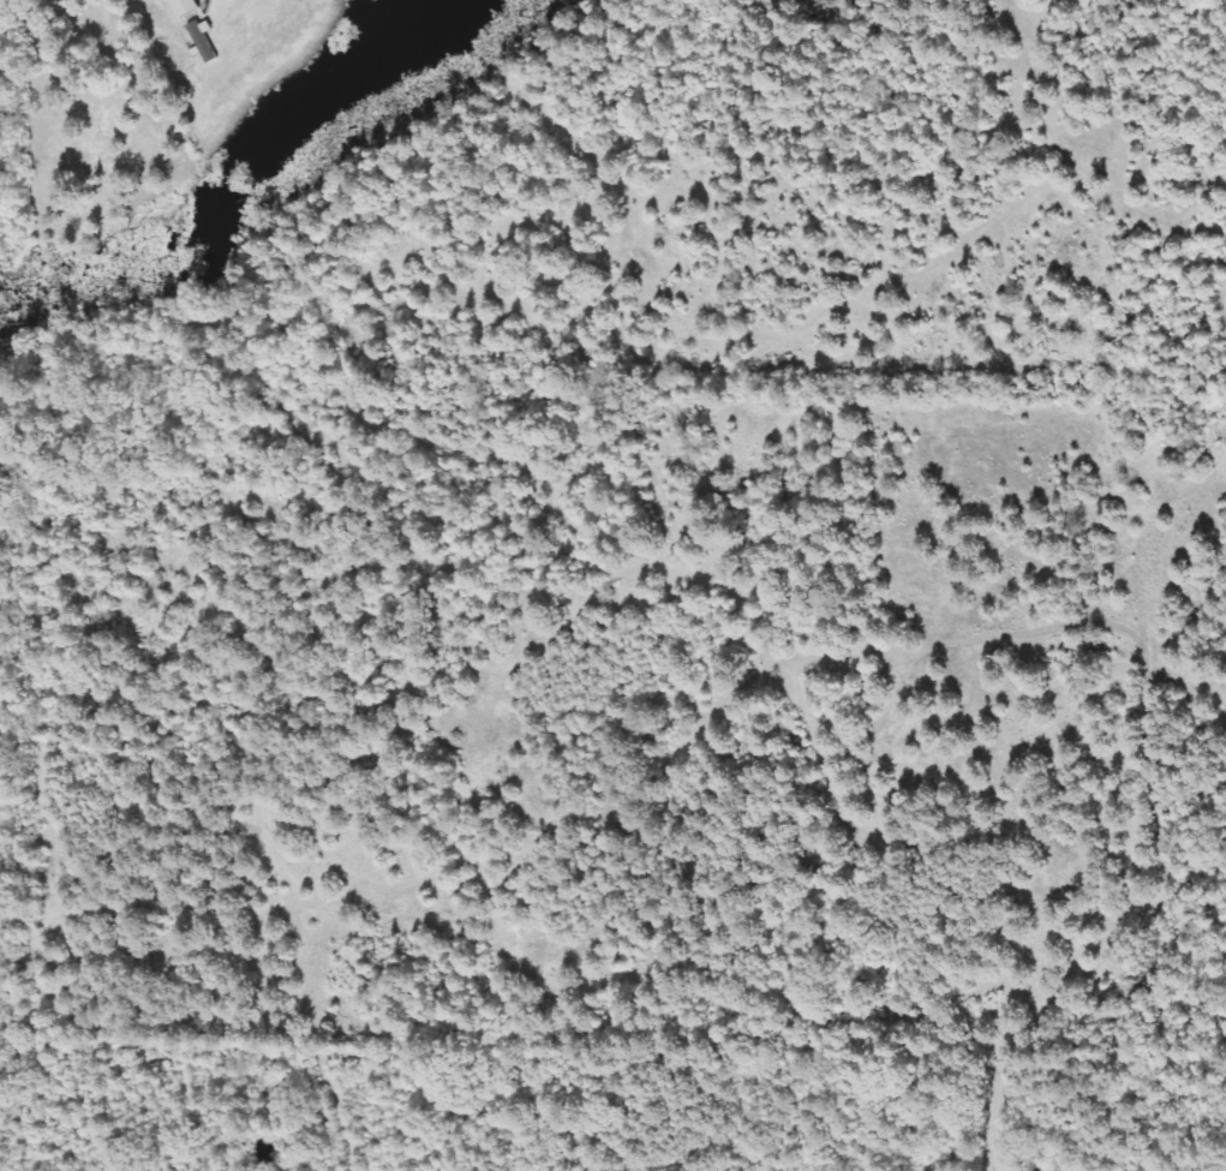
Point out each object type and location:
building: (186, 7)
building: (204, 40)

